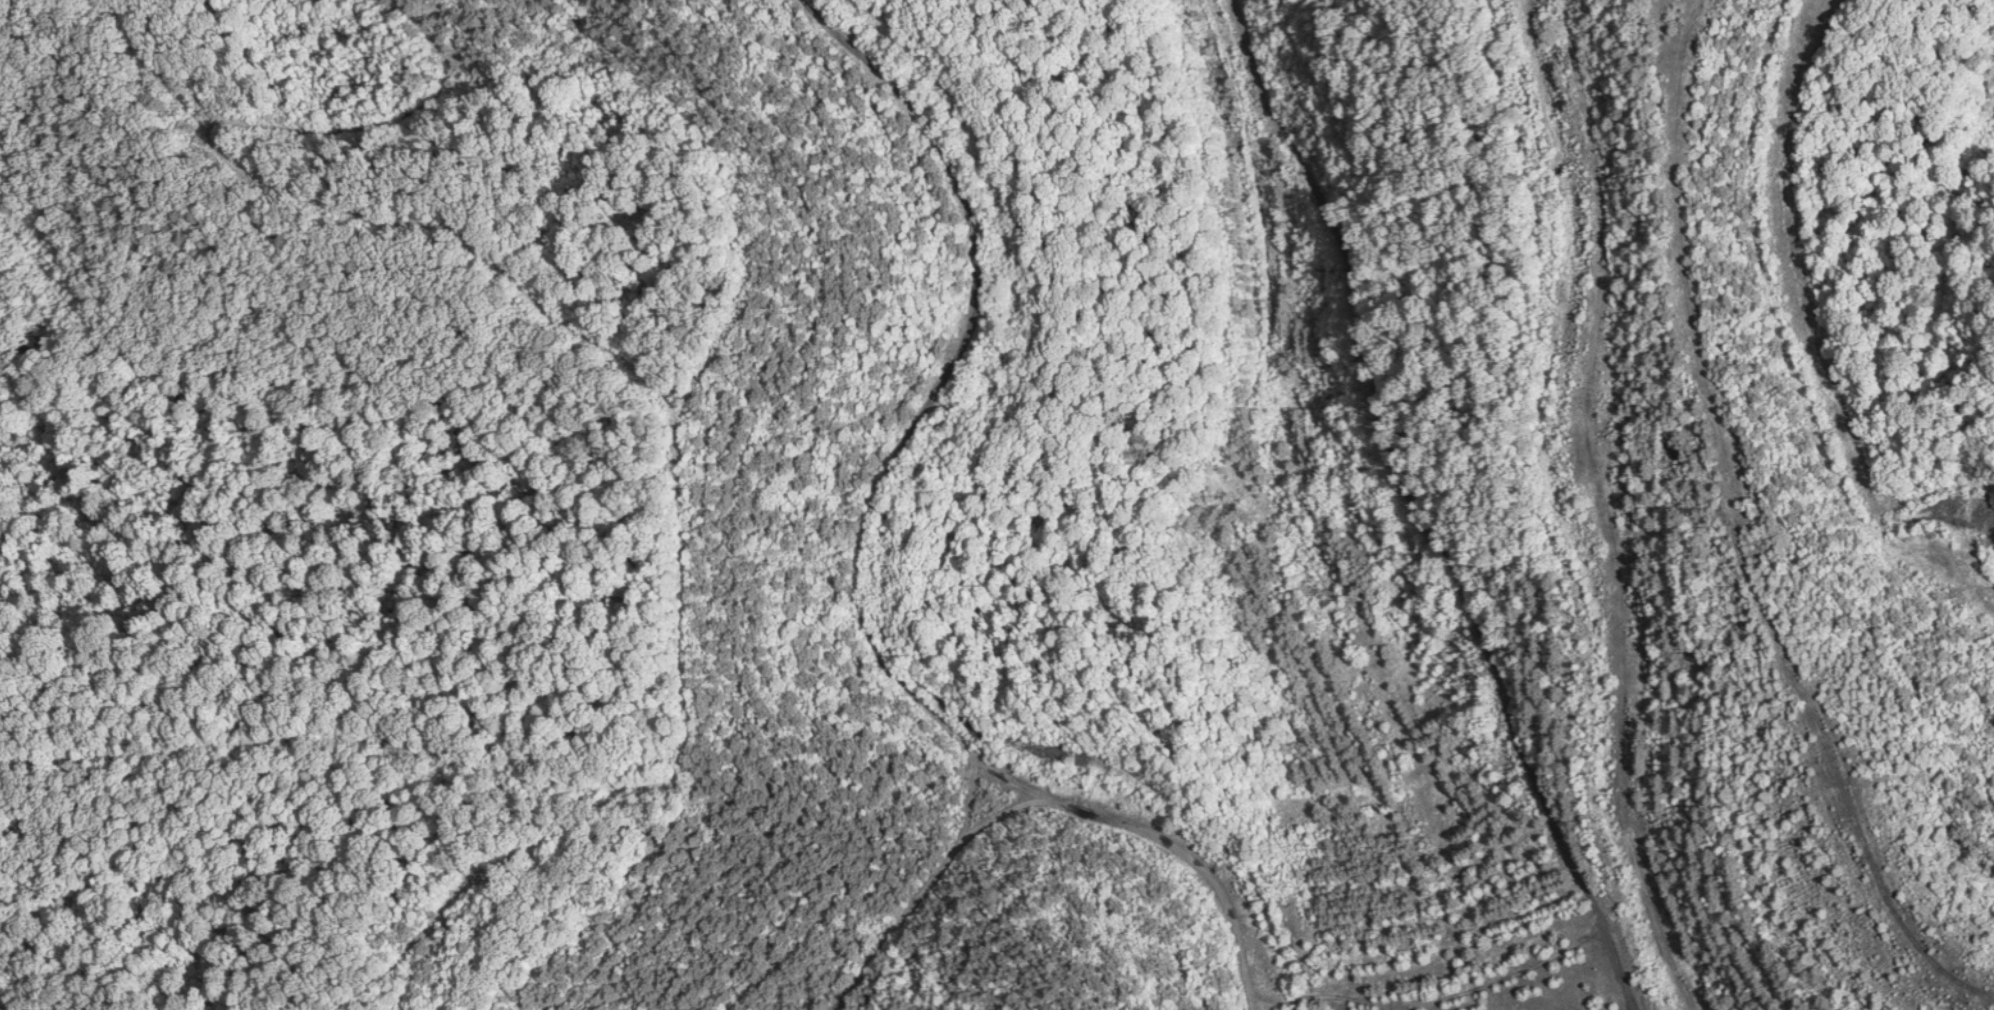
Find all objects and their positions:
quarry: (997, 505)

